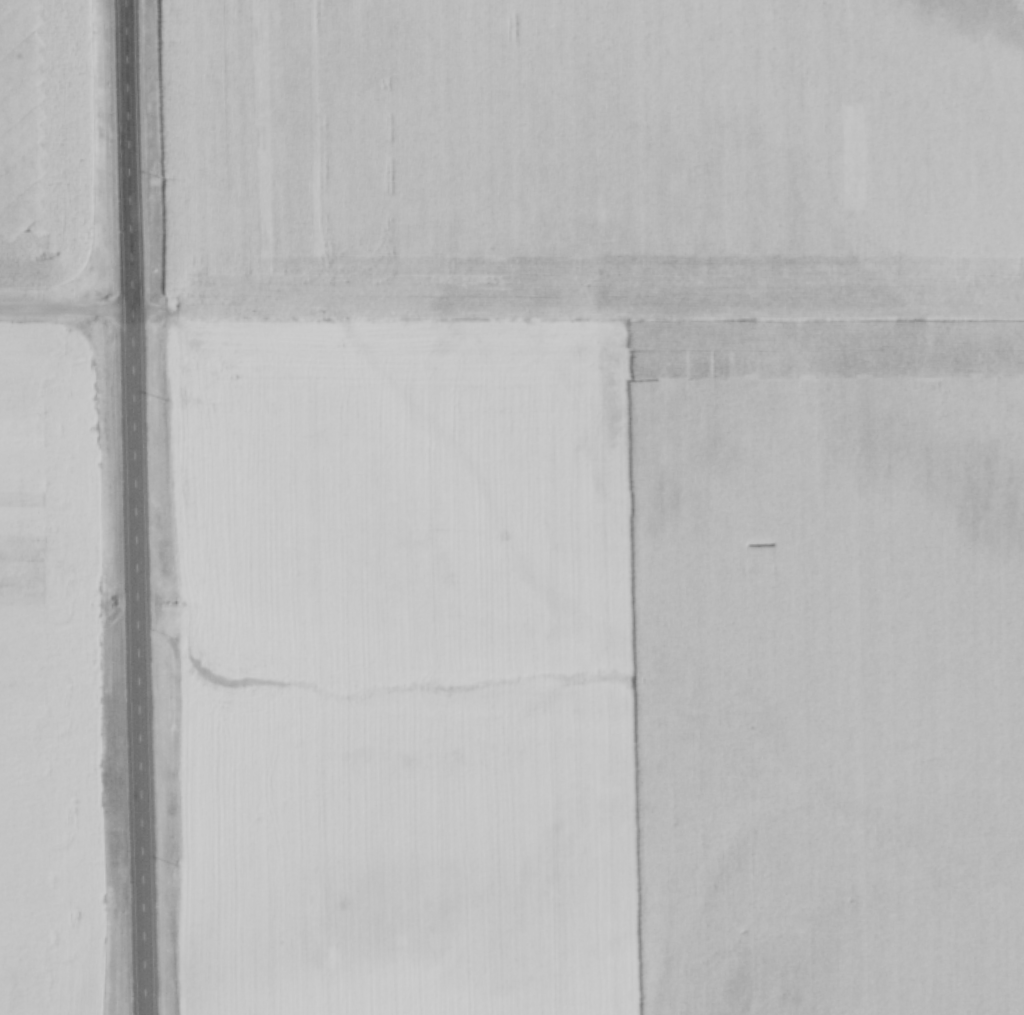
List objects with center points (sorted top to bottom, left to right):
road: (65, 309)
road: (133, 507)

